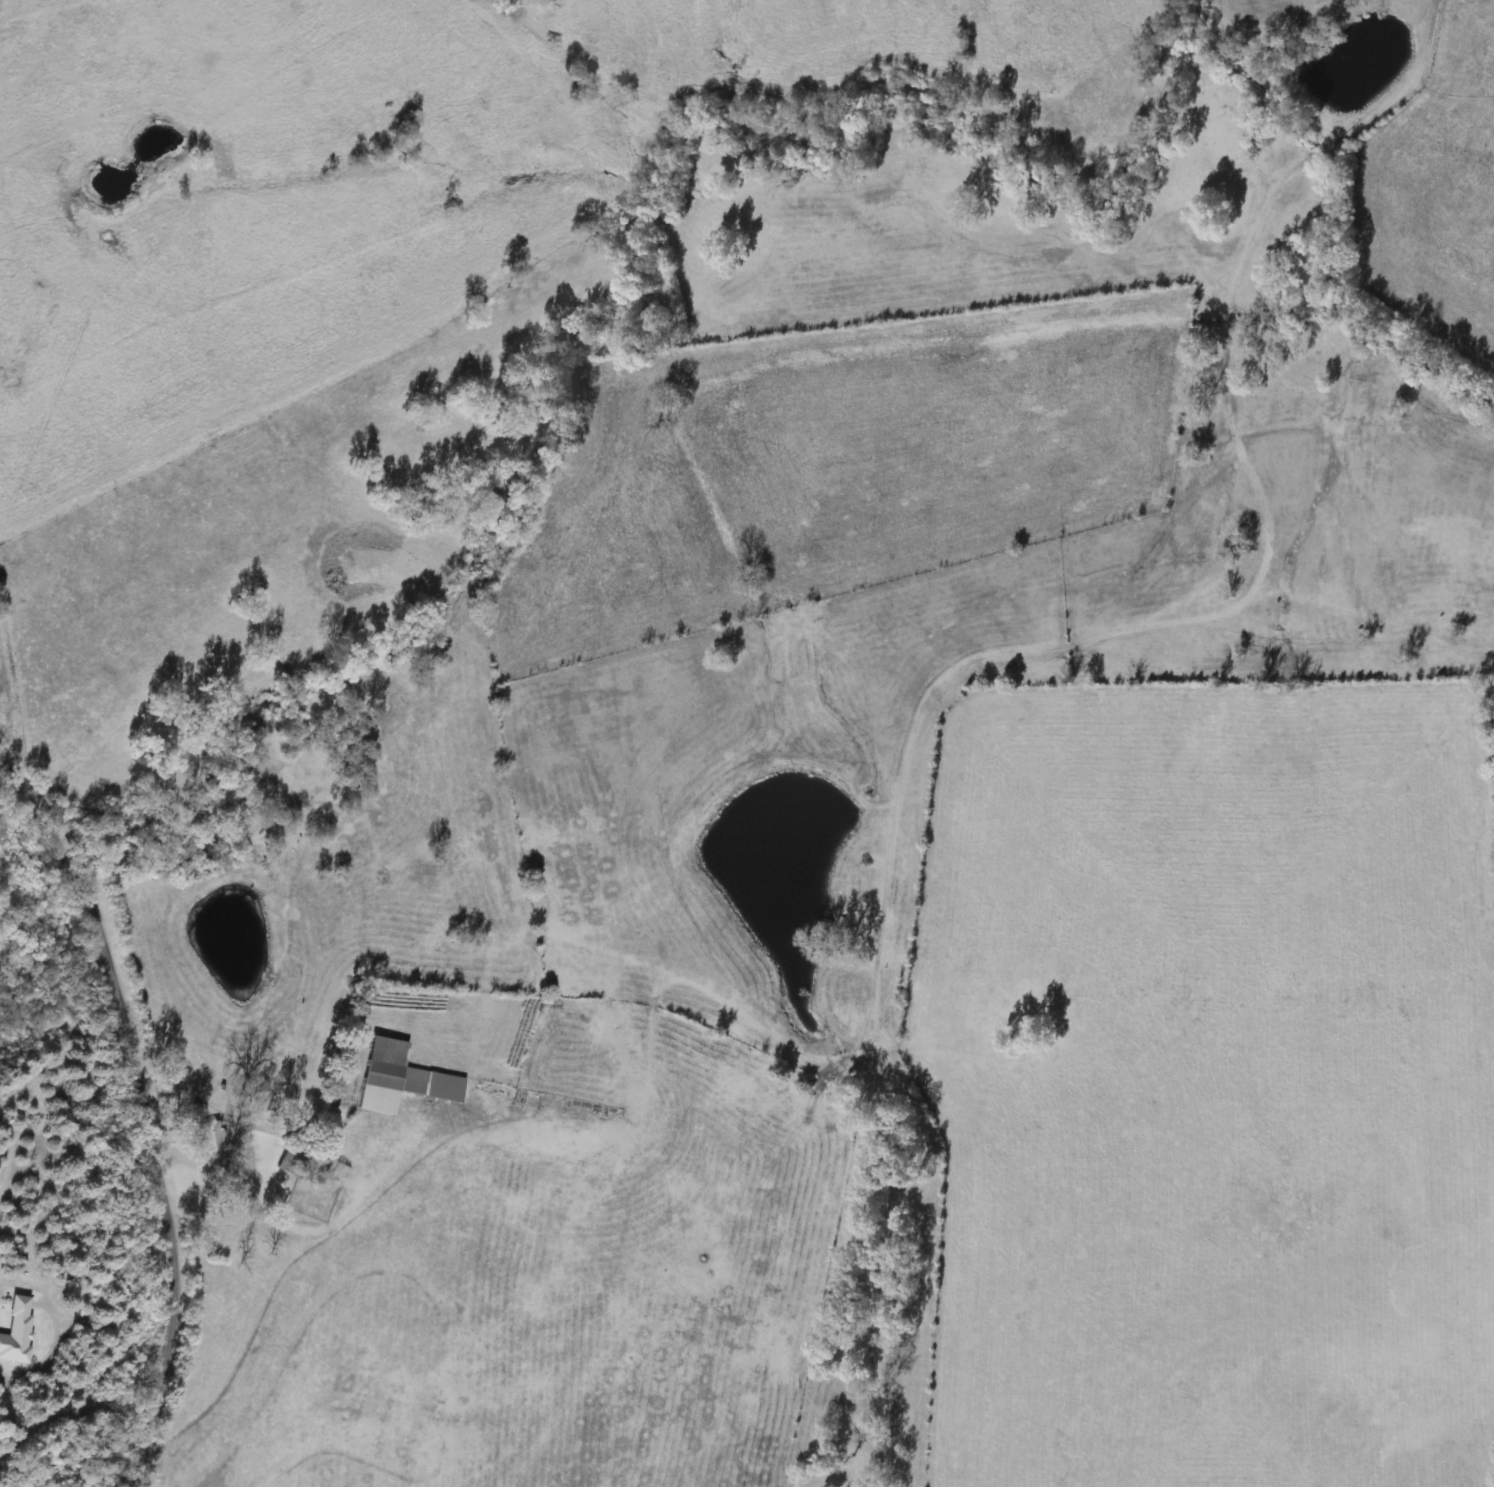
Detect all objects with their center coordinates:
road: (39, 810)
road: (89, 887)
building: (397, 1079)
road: (163, 1201)
road: (234, 1214)
road: (70, 1411)

